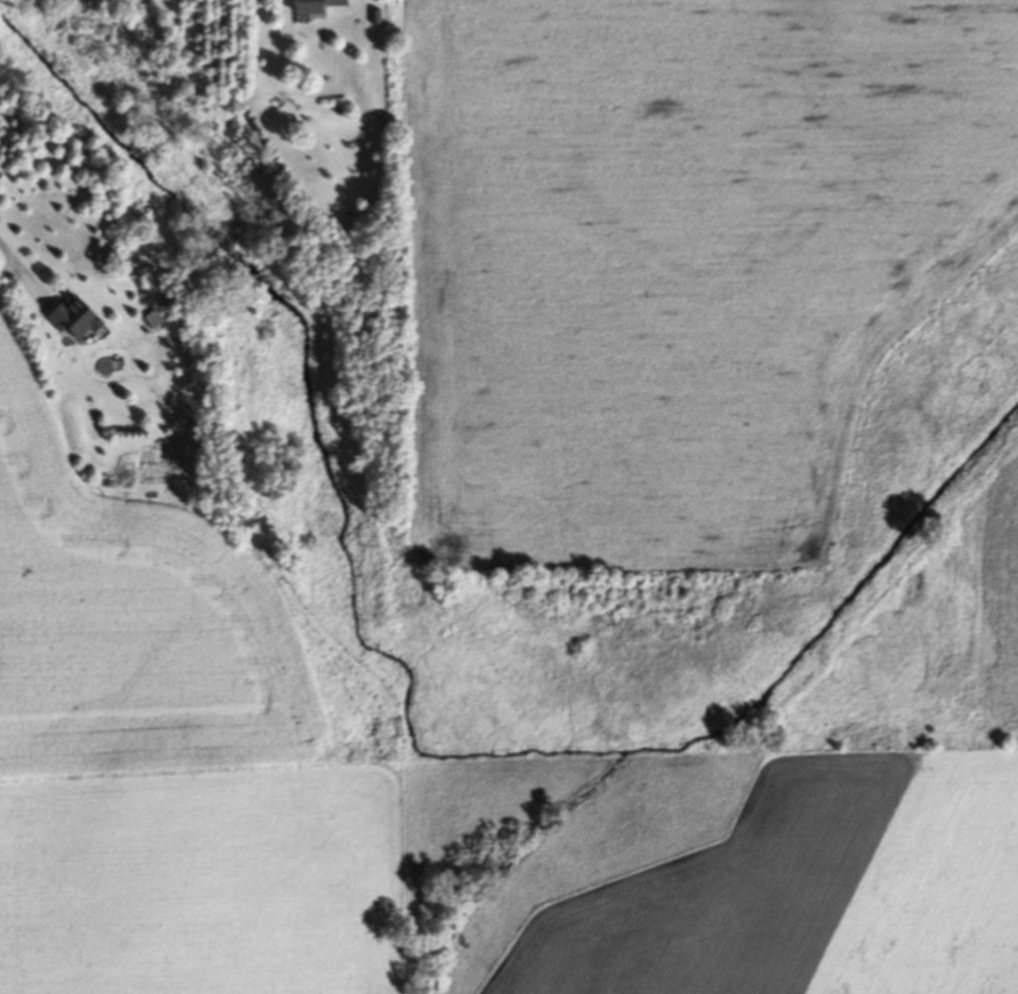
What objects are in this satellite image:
building: (311, 6)
road: (22, 275)
building: (70, 320)

